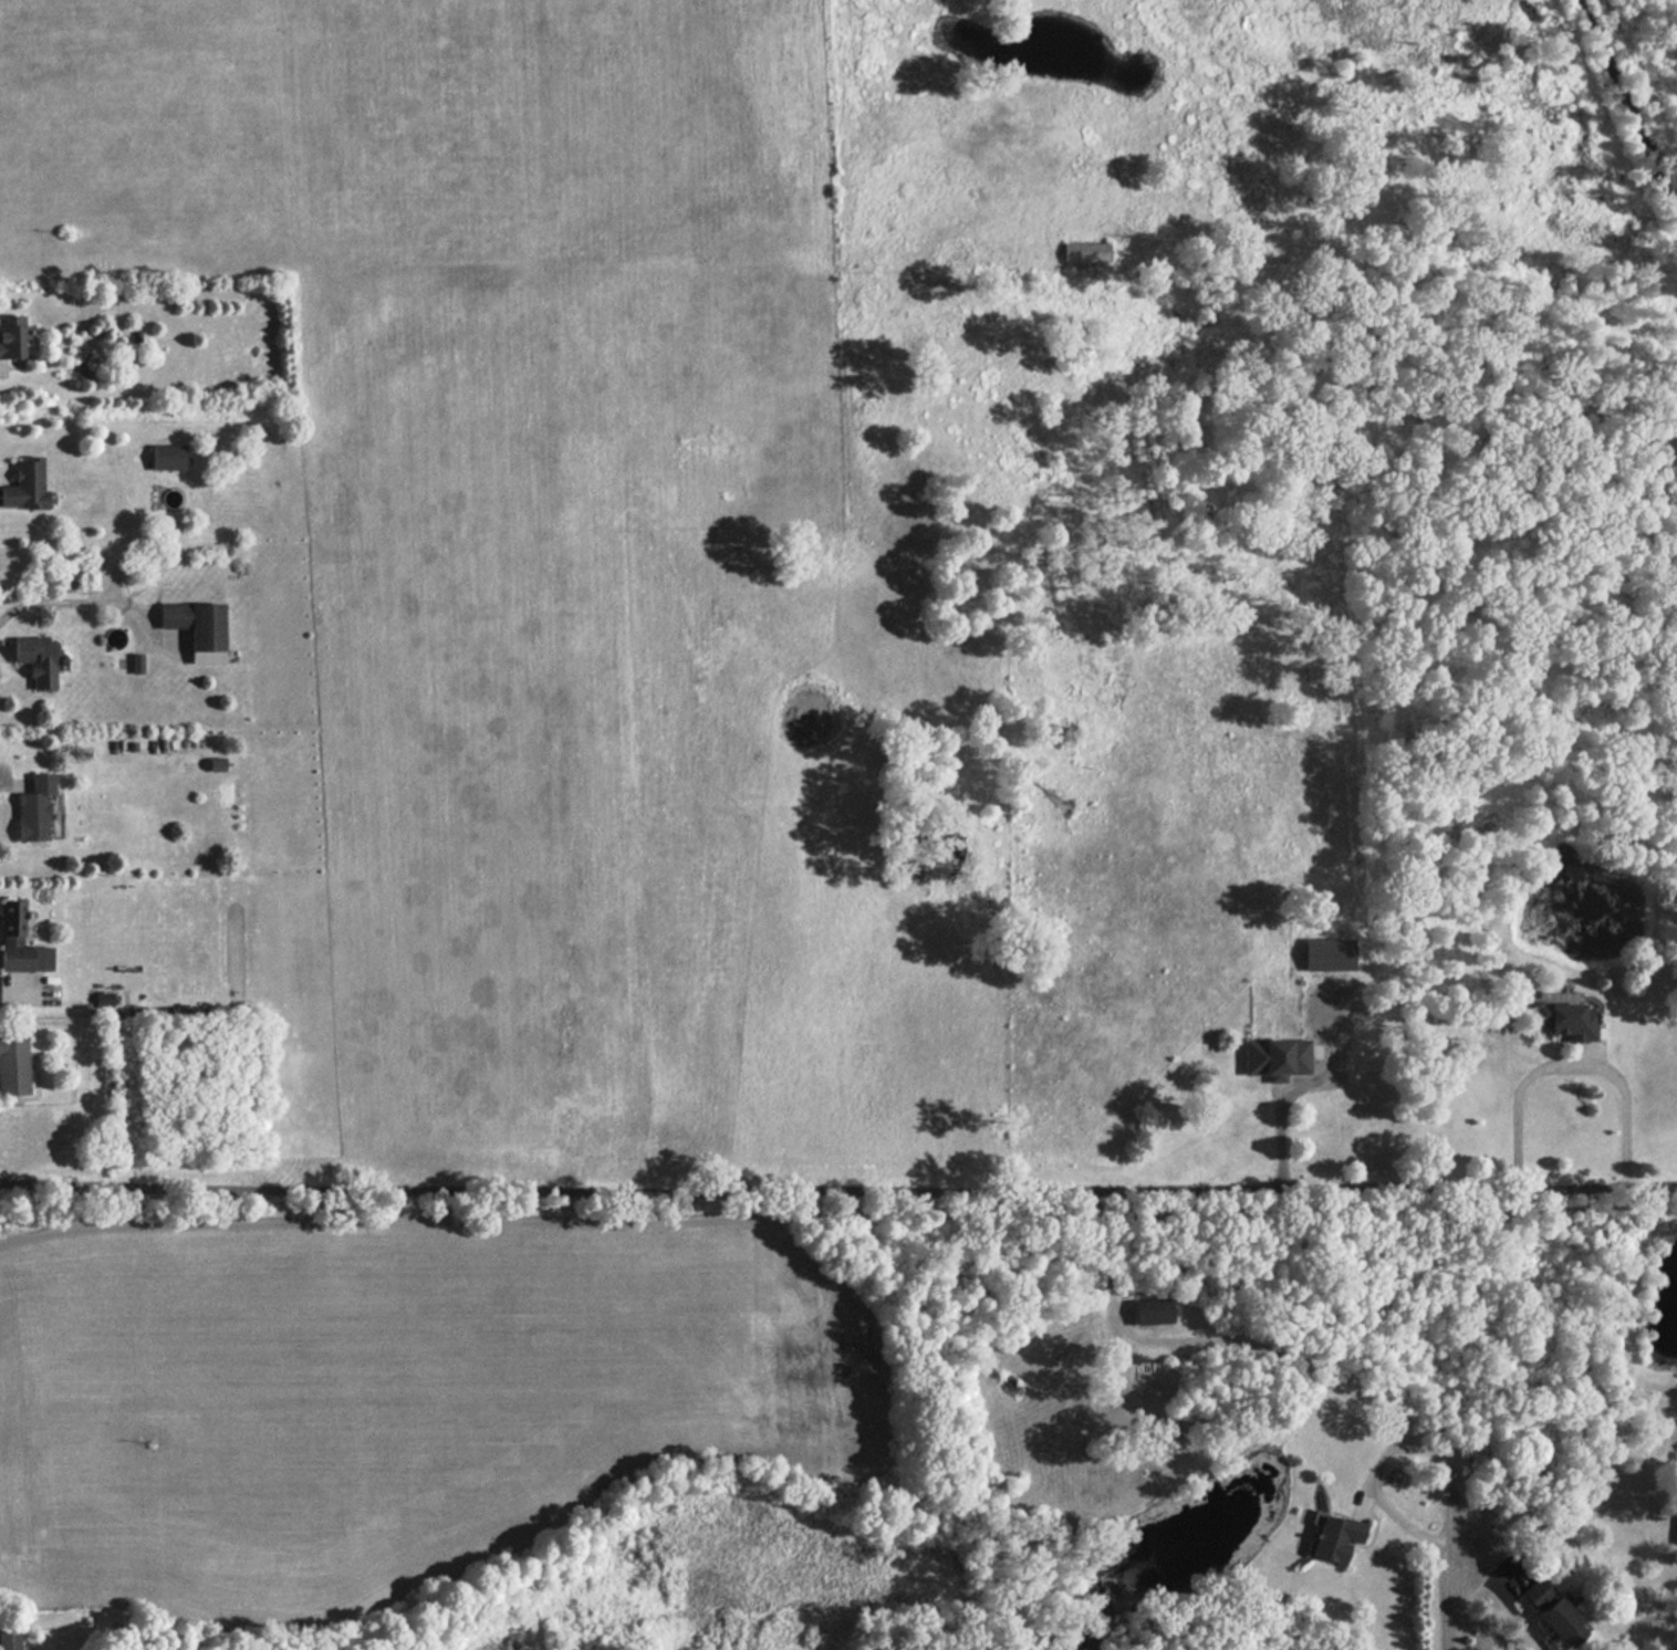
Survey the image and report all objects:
building: (12, 334)
road: (1, 372)
building: (168, 456)
building: (25, 484)
road: (72, 603)
building: (197, 627)
building: (39, 659)
building: (137, 661)
road: (1, 785)
building: (34, 807)
building: (20, 941)
building: (1329, 953)
building: (105, 998)
road: (3, 999)
building: (1563, 1019)
building: (1275, 1057)
building: (13, 1063)
road: (1570, 1082)
road: (1284, 1108)
road: (837, 1192)
building: (1152, 1310)
road: (1269, 1350)
road: (1386, 1506)
building: (1675, 1532)
building: (1334, 1537)
road: (1464, 1554)
building: (1554, 1612)
building: (9, 1639)

